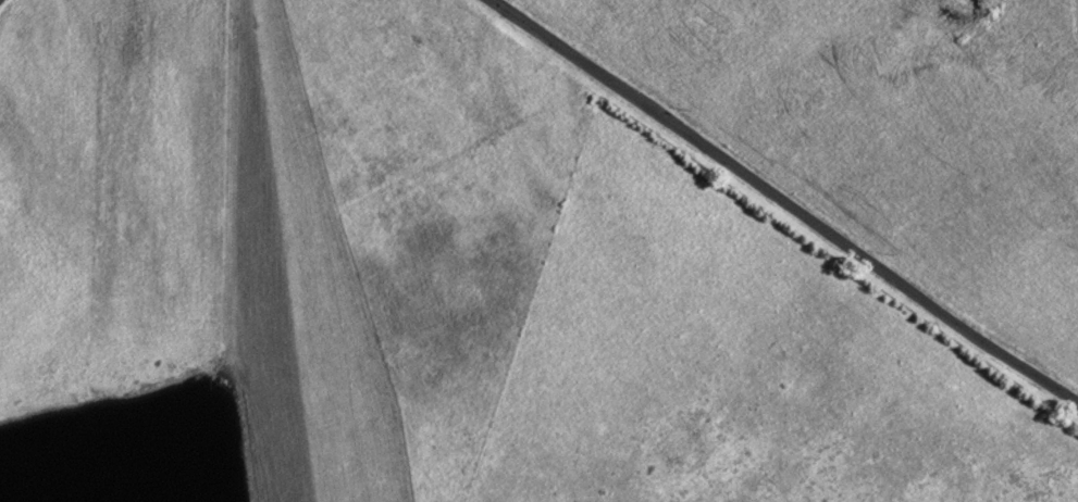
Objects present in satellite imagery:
road: (779, 209)
dam: (280, 251)

